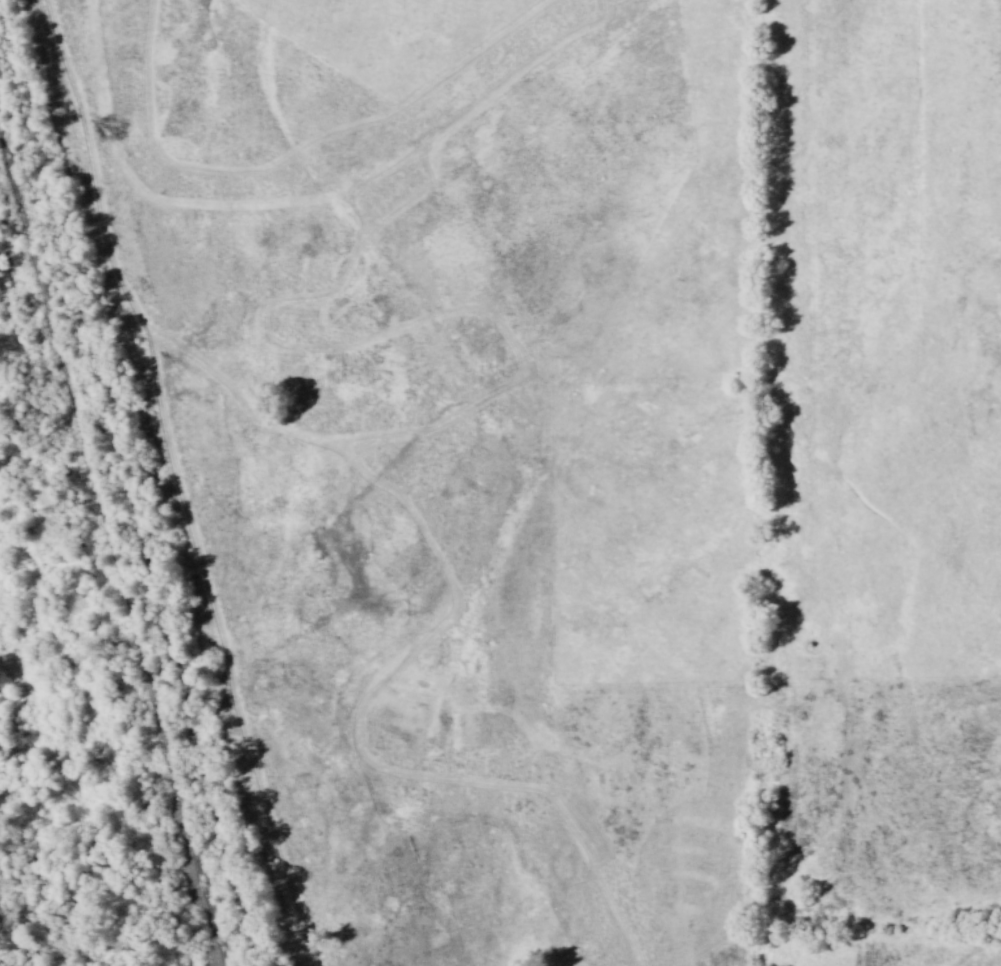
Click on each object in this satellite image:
railway: (93, 487)
railway: (195, 902)
railway: (204, 902)
railway: (213, 925)

